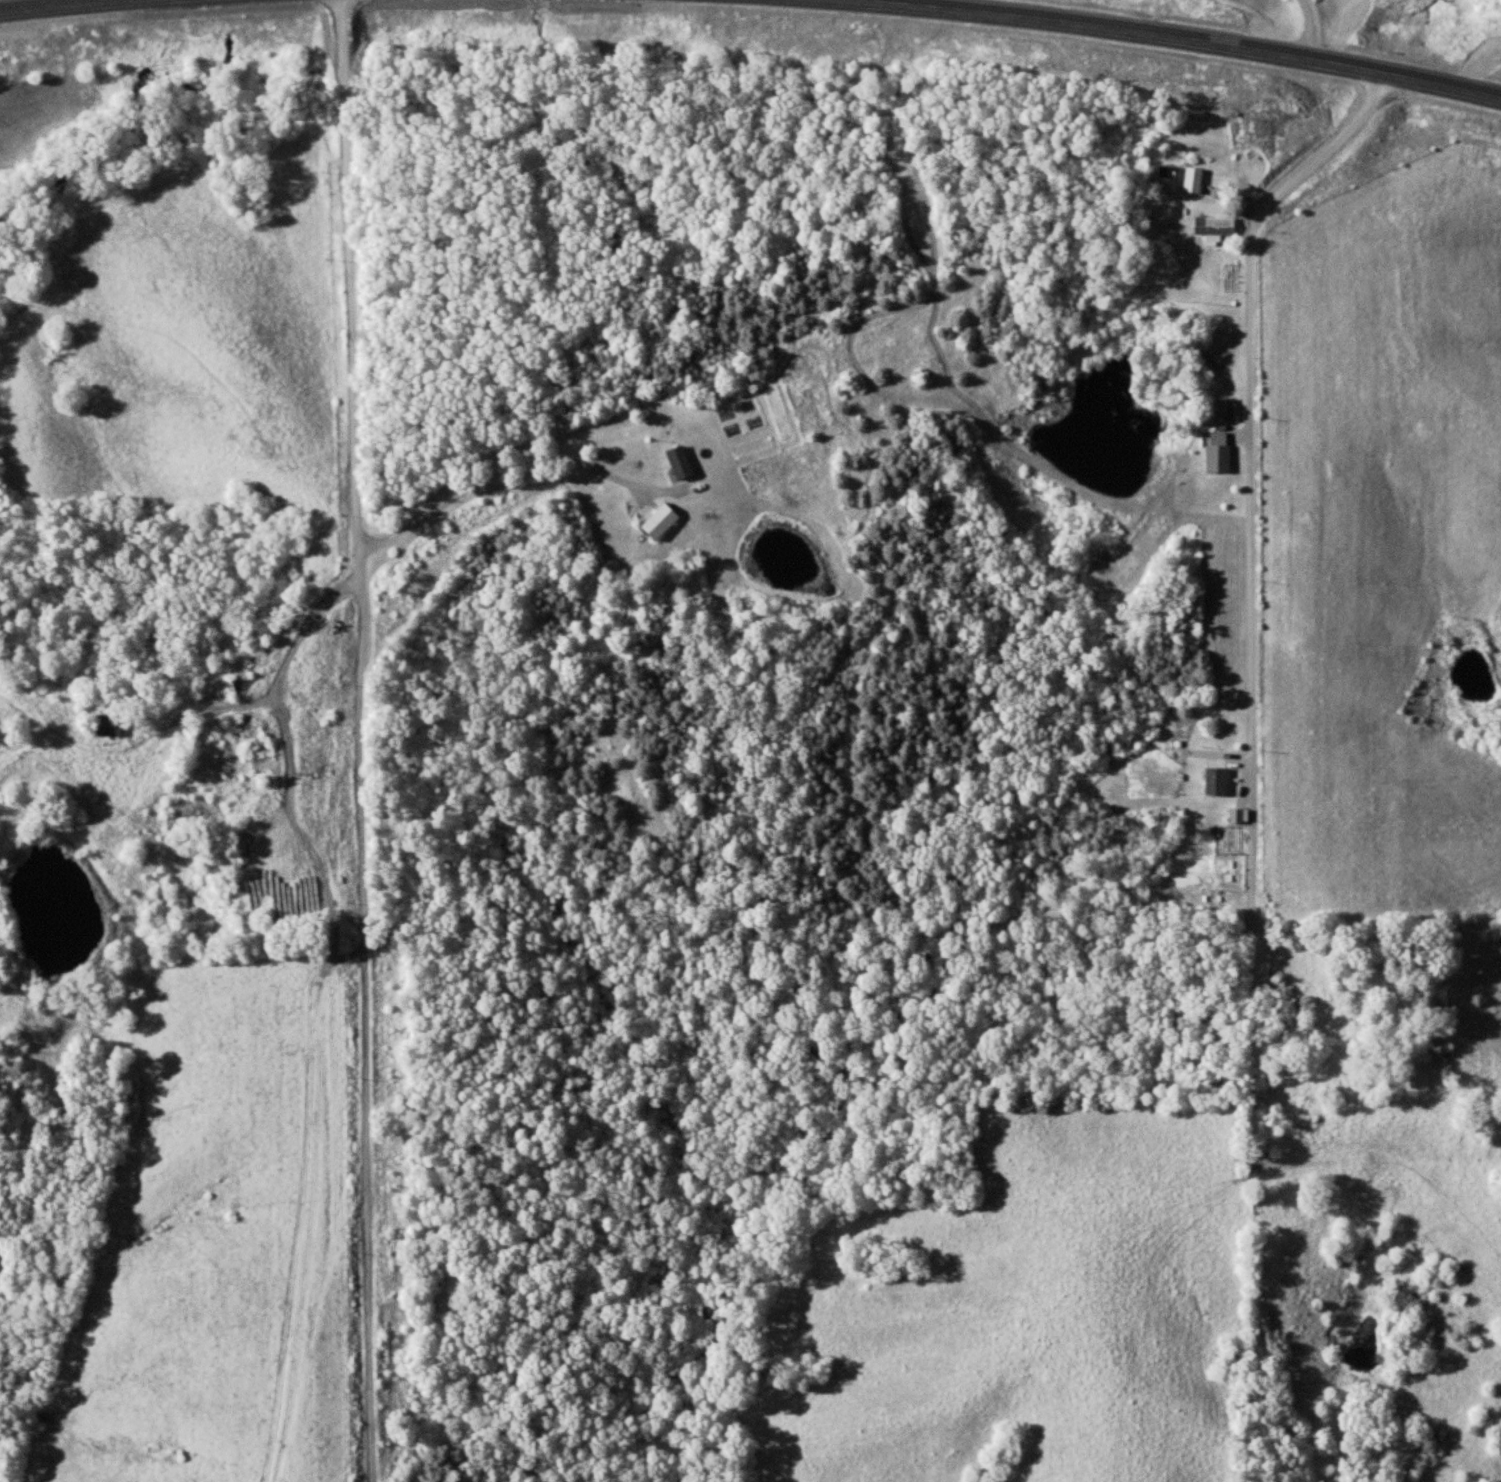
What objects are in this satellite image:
road: (38, 2)
road: (1307, 26)
road: (1180, 37)
building: (1190, 180)
building: (1211, 228)
building: (1213, 455)
road: (512, 460)
building: (675, 462)
building: (656, 521)
road: (1253, 547)
road: (279, 685)
building: (112, 730)
road: (368, 740)
road: (326, 1082)

